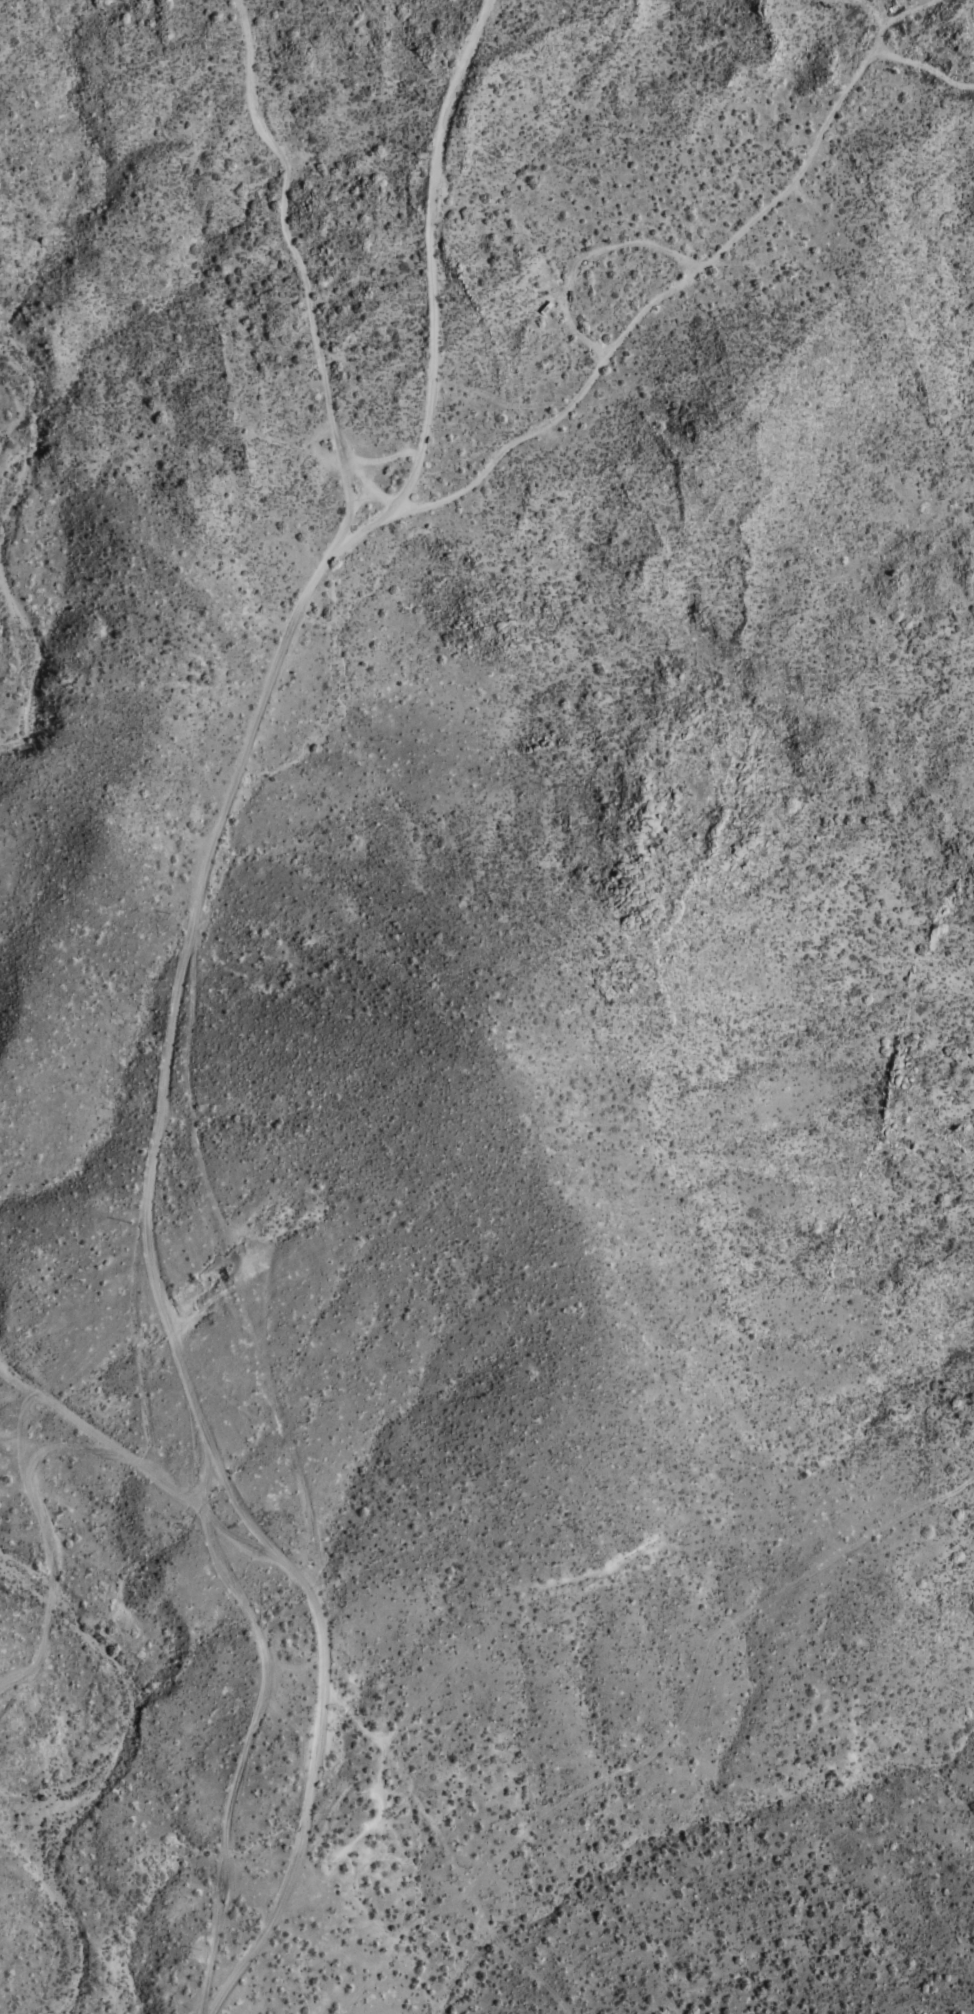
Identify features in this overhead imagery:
road: (435, 362)
road: (503, 452)
road: (358, 476)
road: (358, 525)
road: (172, 1015)
quarry: (223, 1279)
road: (130, 1456)
road: (51, 1569)
road: (252, 1727)

